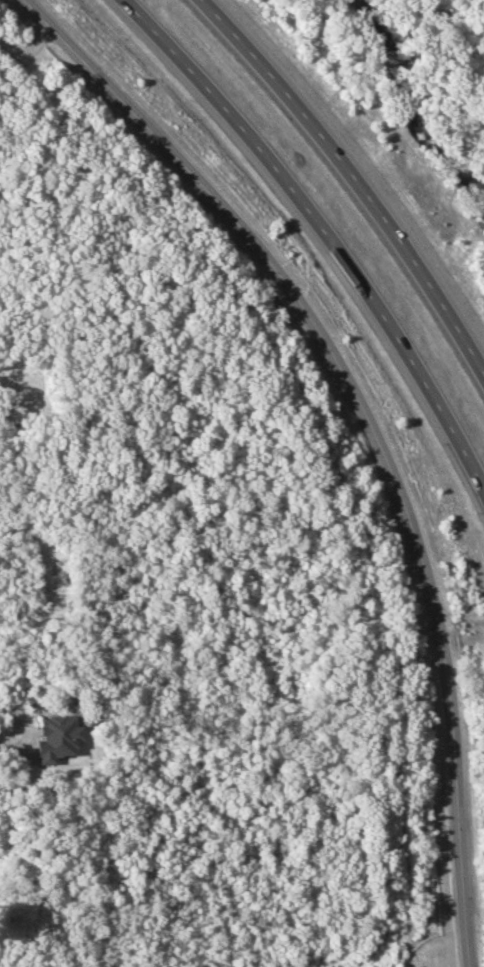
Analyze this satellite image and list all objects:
road: (28, 45)
road: (357, 176)
road: (322, 233)
road: (372, 426)
road: (29, 726)
building: (57, 737)

